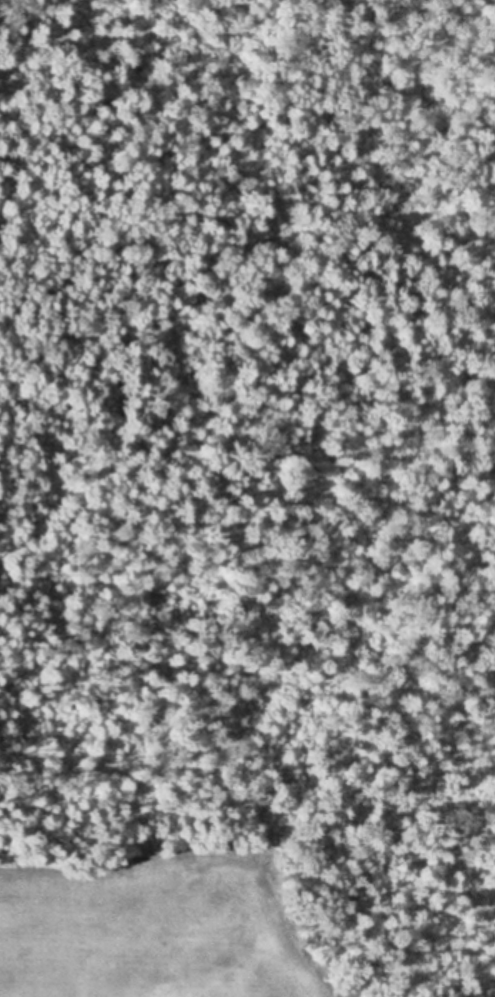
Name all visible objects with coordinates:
crop: (162, 922)

